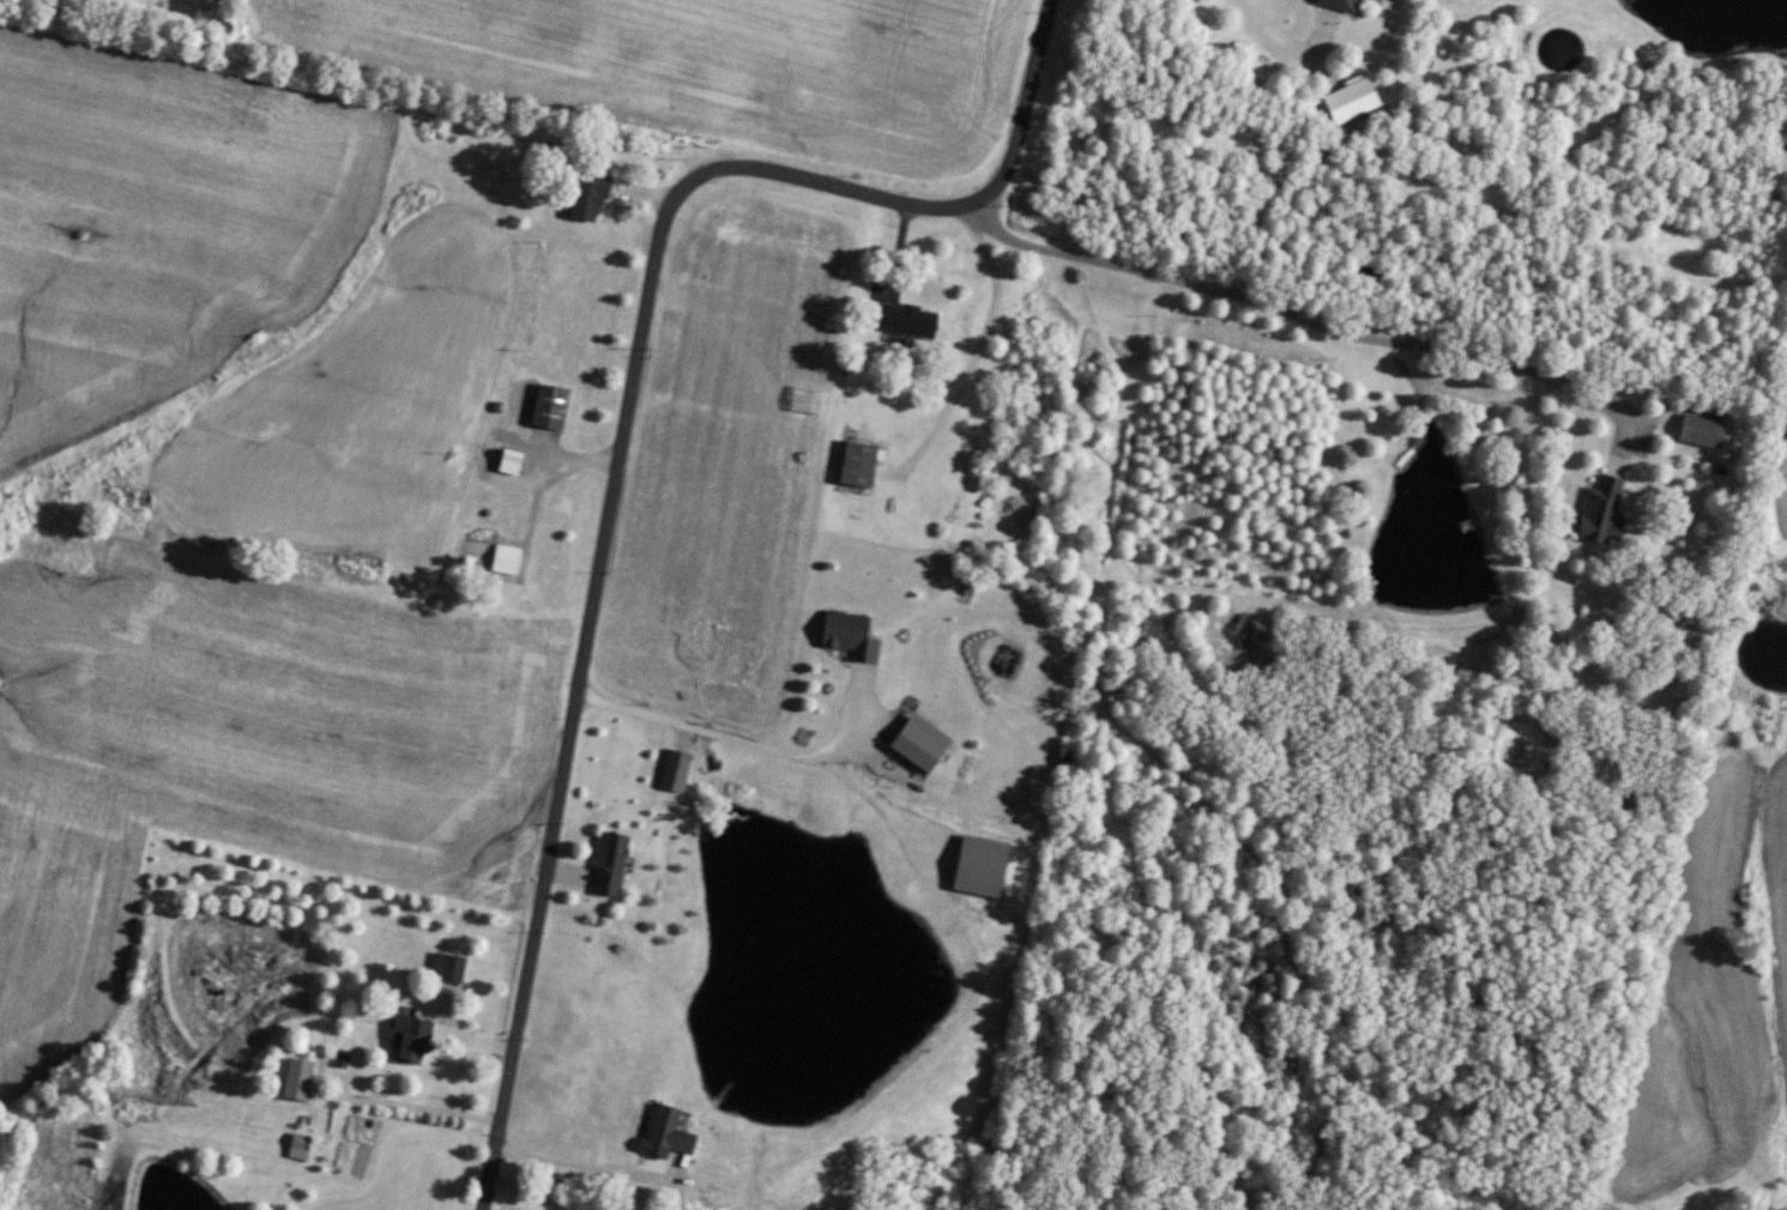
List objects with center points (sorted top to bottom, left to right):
building: (1338, 4)
road: (1286, 52)
building: (1347, 99)
building: (592, 196)
building: (904, 319)
road: (1315, 319)
road: (976, 355)
building: (554, 405)
building: (1698, 431)
road: (622, 437)
building: (515, 455)
building: (855, 462)
building: (1599, 513)
building: (509, 558)
building: (846, 635)
building: (916, 743)
road: (747, 744)
building: (672, 770)
road: (881, 803)
building: (608, 864)
building: (976, 866)
building: (449, 967)
building: (415, 1039)
building: (301, 1079)
road: (409, 1107)
building: (665, 1130)
road: (579, 1162)
road: (541, 1197)

